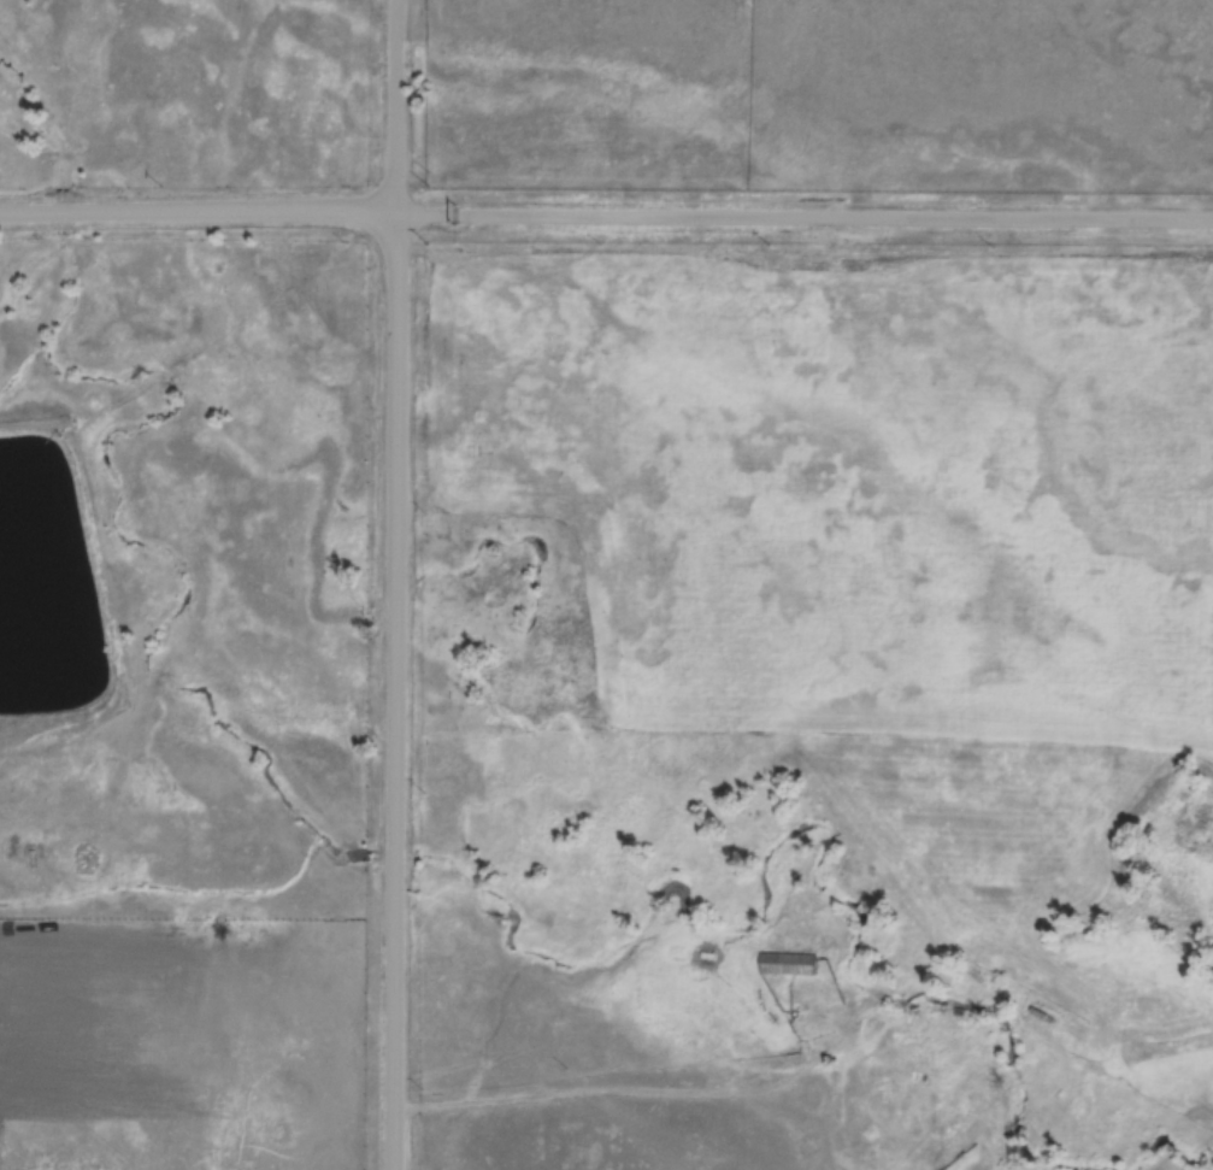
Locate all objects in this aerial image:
road: (396, 106)
road: (230, 212)
road: (836, 216)
road: (395, 692)
building: (781, 964)

